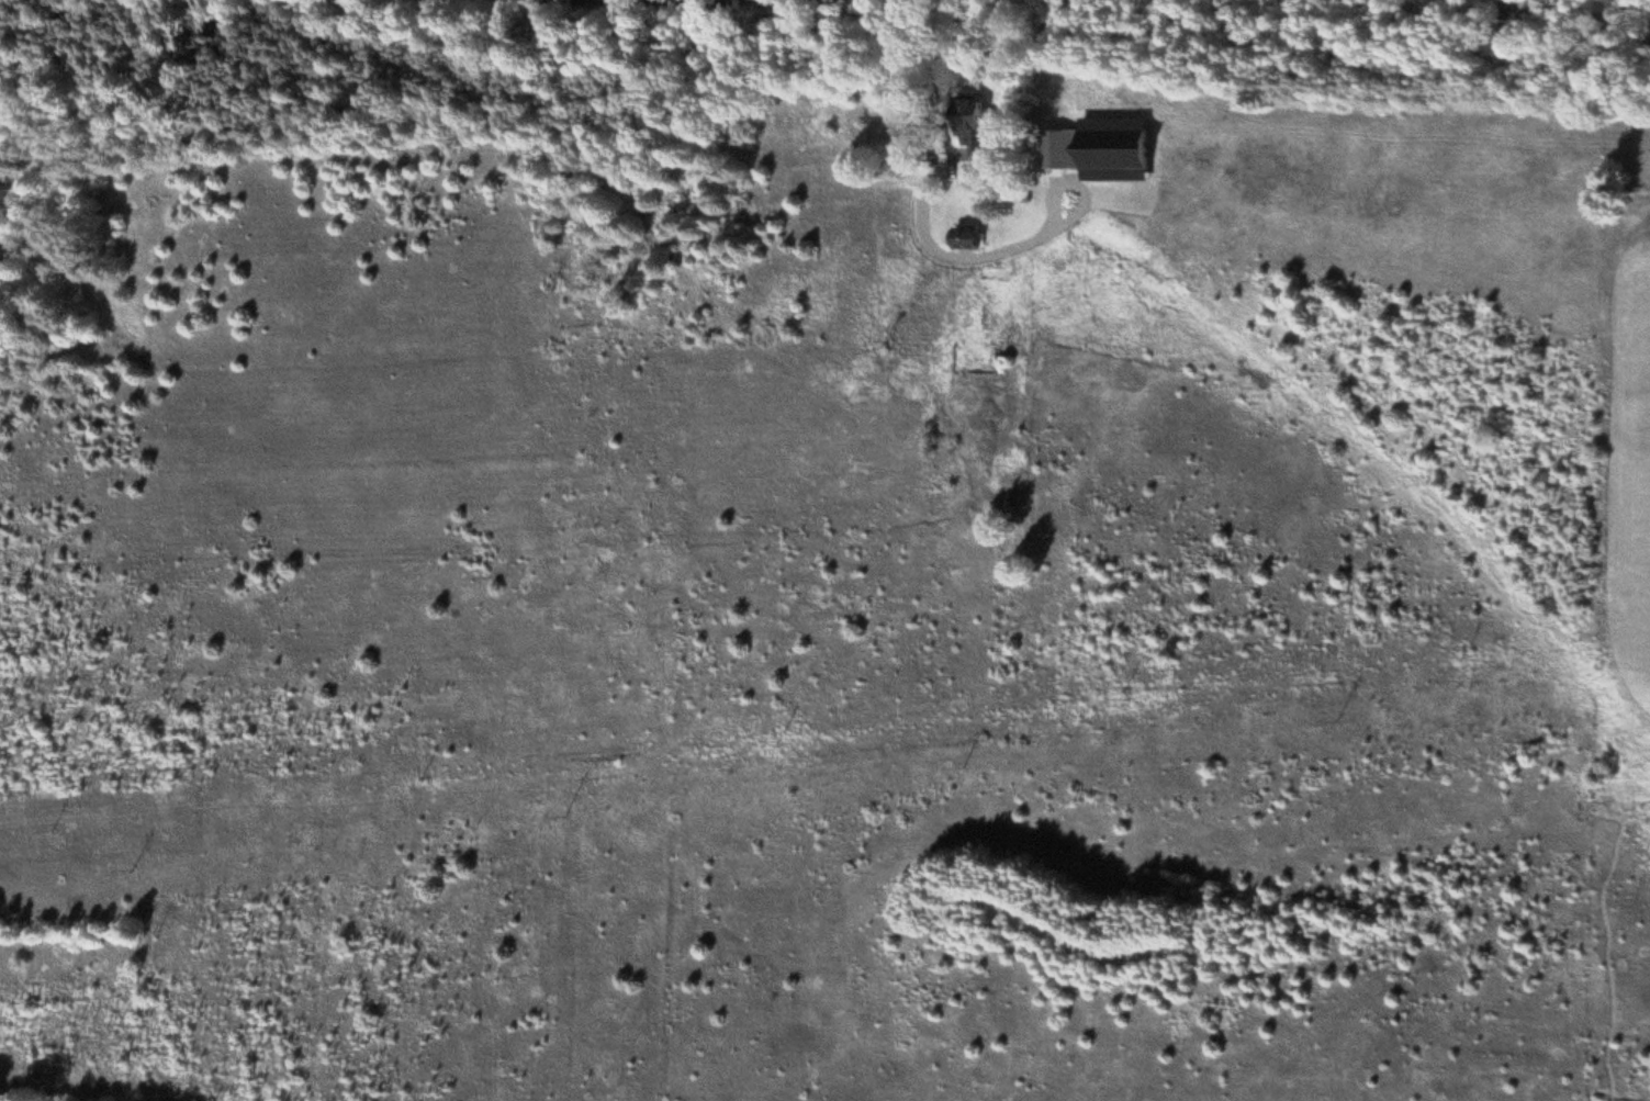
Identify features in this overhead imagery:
road: (651, 3)
building: (1456, 7)
building: (1519, 19)
building: (974, 124)
building: (1064, 149)
building: (968, 240)

